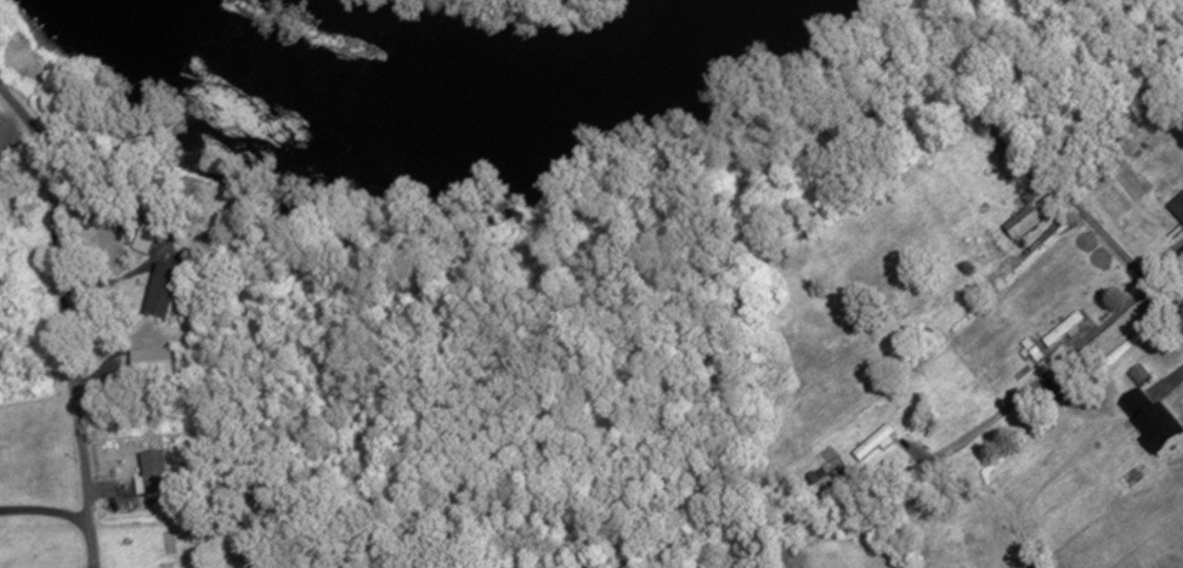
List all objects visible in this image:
river: (425, 109)
building: (1176, 206)
building: (1017, 222)
road: (1132, 266)
building: (157, 290)
road: (66, 320)
building: (1136, 373)
road: (1040, 377)
building: (871, 442)
building: (148, 472)

